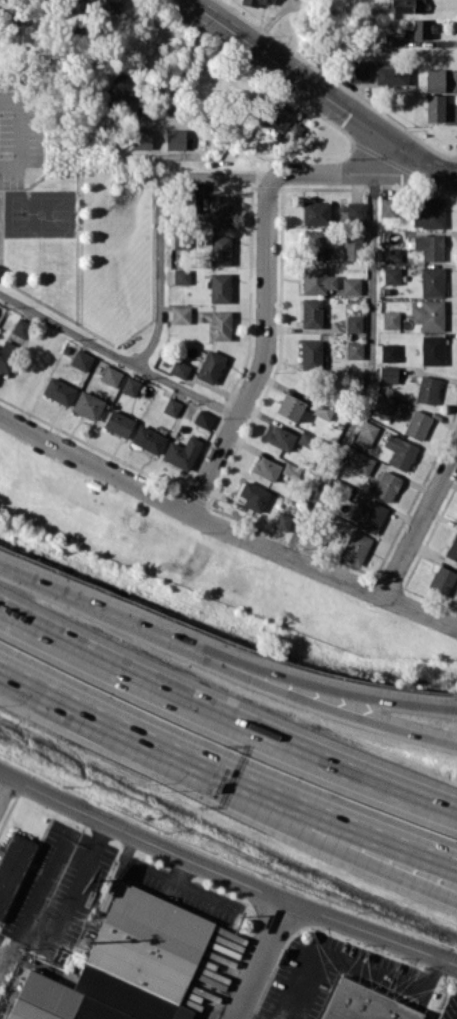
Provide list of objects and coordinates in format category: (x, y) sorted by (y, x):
building: (253, 2)
building: (105, 4)
building: (407, 6)
building: (417, 29)
building: (356, 70)
building: (390, 72)
building: (434, 79)
building: (122, 84)
road: (312, 87)
building: (434, 107)
building: (275, 115)
road: (23, 129)
building: (294, 129)
building: (141, 138)
building: (175, 138)
road: (355, 172)
road: (447, 174)
road: (447, 181)
building: (387, 206)
building: (356, 210)
building: (220, 211)
building: (315, 212)
building: (428, 212)
park: (38, 213)
road: (161, 216)
building: (313, 244)
building: (429, 246)
building: (351, 247)
building: (220, 250)
building: (392, 254)
building: (391, 275)
building: (181, 276)
building: (317, 280)
building: (432, 281)
building: (351, 285)
building: (219, 287)
building: (311, 312)
building: (180, 314)
building: (429, 314)
building: (391, 319)
building: (354, 323)
building: (220, 325)
building: (21, 327)
building: (354, 349)
building: (432, 349)
road: (265, 352)
building: (389, 352)
building: (311, 354)
building: (7, 355)
road: (117, 356)
building: (81, 359)
building: (210, 366)
building: (179, 368)
road: (371, 373)
building: (388, 373)
building: (111, 375)
building: (130, 385)
building: (427, 389)
building: (58, 390)
building: (383, 403)
building: (88, 404)
building: (171, 406)
building: (289, 406)
building: (203, 418)
building: (118, 423)
building: (417, 424)
building: (366, 433)
building: (282, 438)
building: (148, 439)
building: (400, 451)
building: (182, 452)
building: (359, 461)
building: (266, 468)
building: (290, 470)
building: (386, 485)
building: (253, 495)
building: (367, 514)
building: (282, 520)
road: (420, 522)
road: (224, 529)
building: (355, 547)
building: (452, 547)
building: (441, 580)
road: (223, 653)
road: (266, 683)
road: (41, 689)
road: (225, 717)
road: (5, 785)
road: (268, 790)
road: (264, 815)
building: (12, 867)
road: (225, 873)
road: (76, 876)
road: (260, 959)
road: (344, 961)
building: (124, 965)
building: (370, 1000)
road: (244, 1015)

